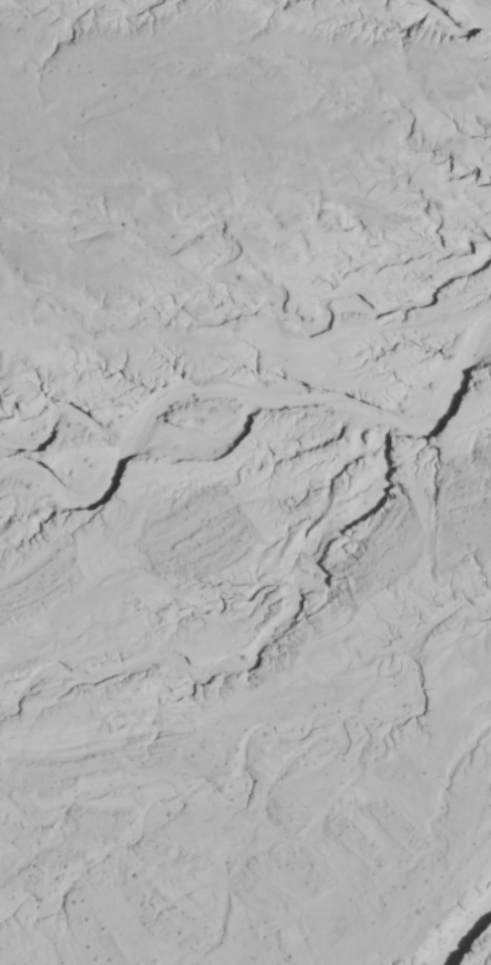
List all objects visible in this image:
road: (485, 6)
road: (465, 936)

